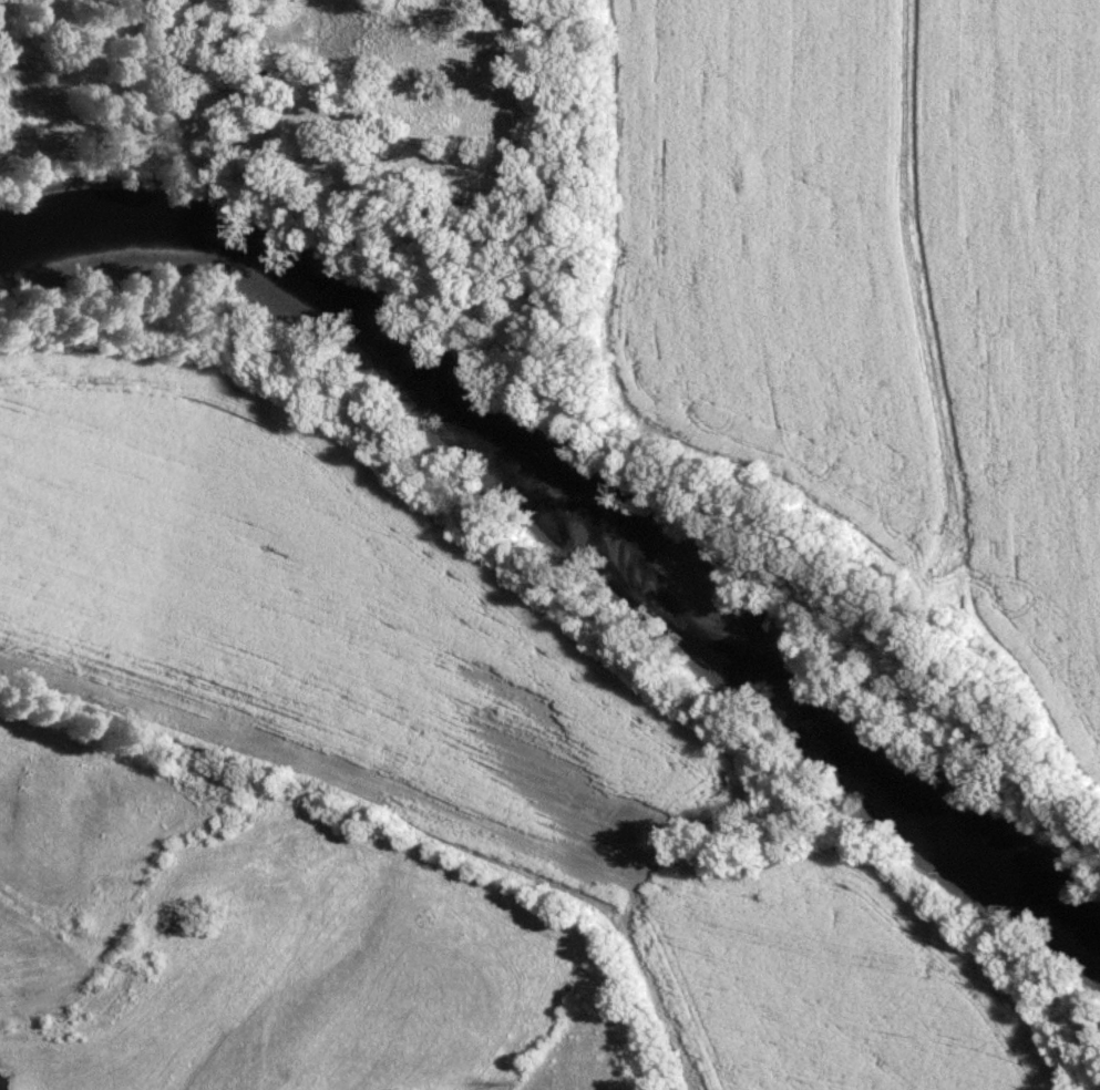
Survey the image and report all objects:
river: (593, 494)

